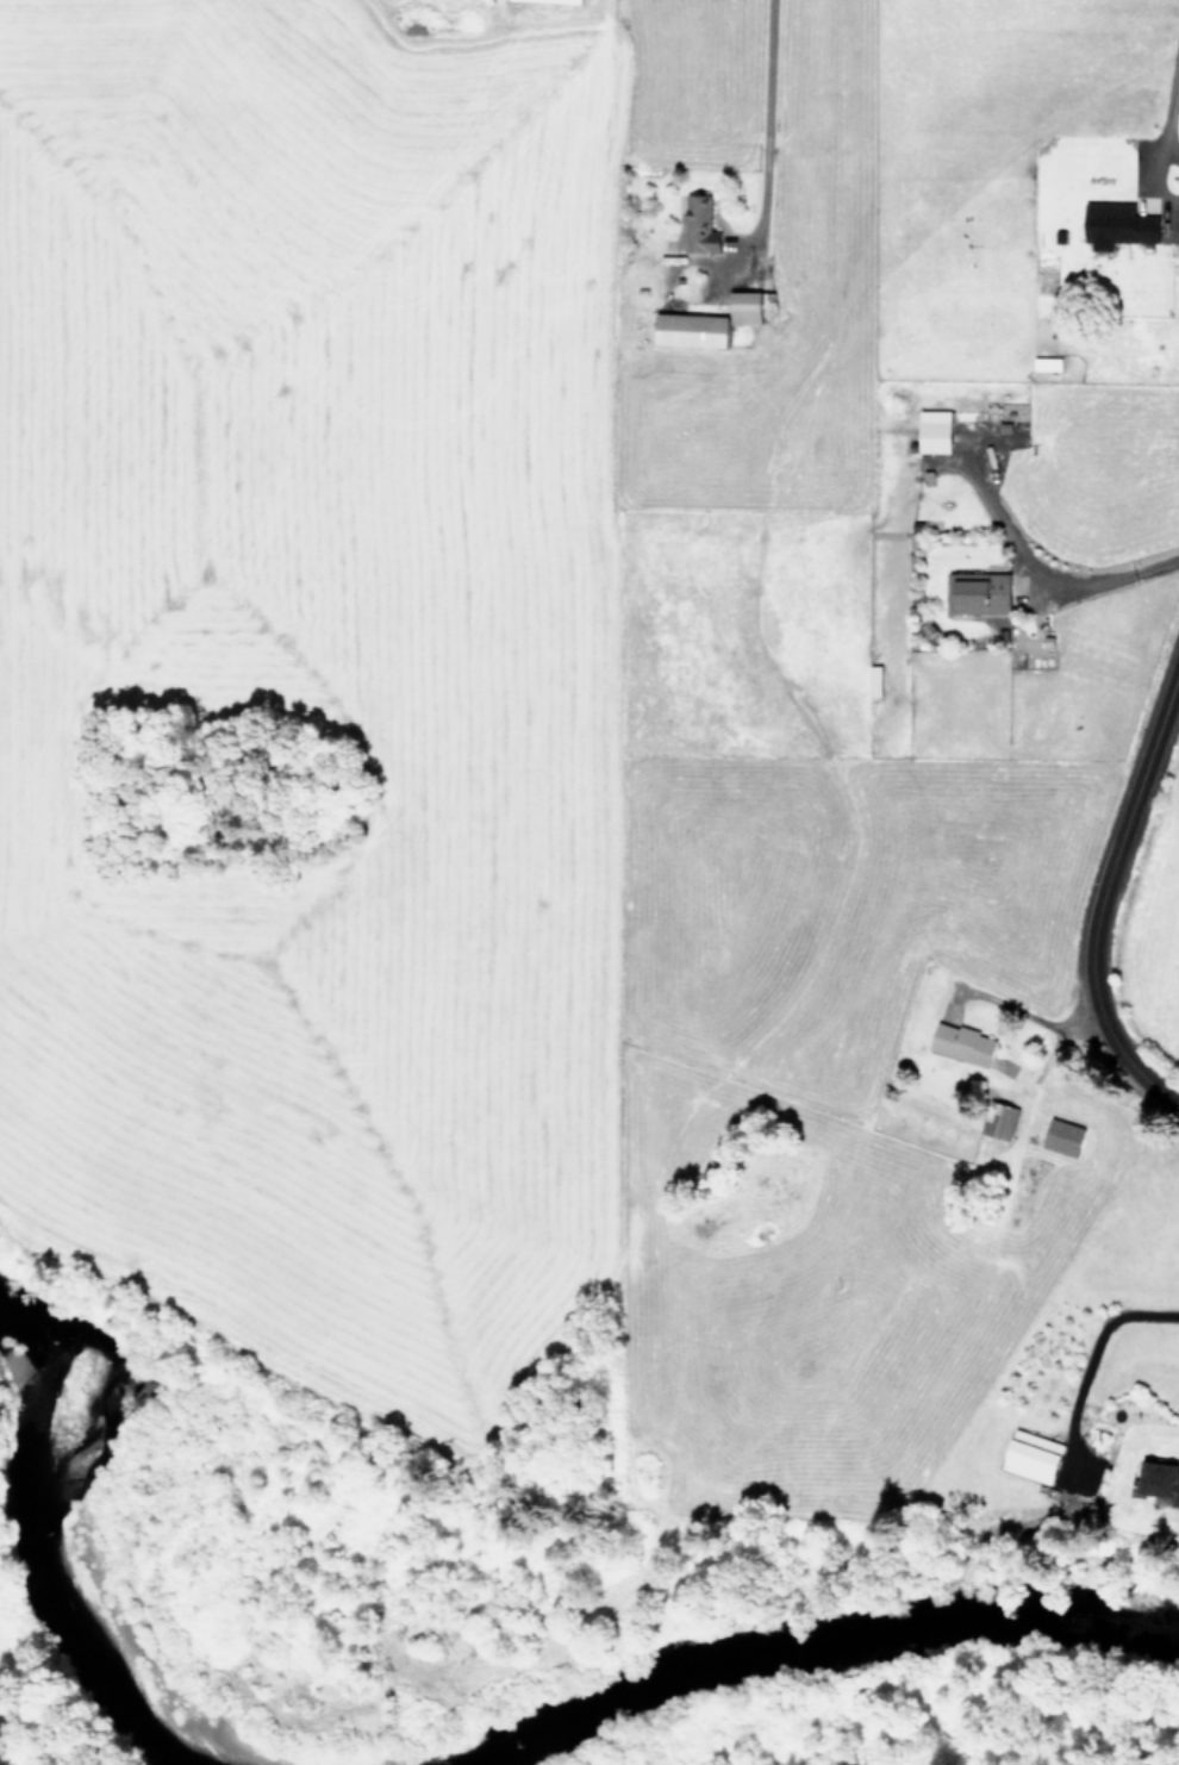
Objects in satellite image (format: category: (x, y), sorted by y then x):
building: (547, 0)
road: (1168, 120)
road: (763, 148)
building: (1113, 225)
building: (697, 226)
building: (741, 307)
building: (686, 330)
building: (1044, 362)
building: (930, 431)
road: (1100, 578)
building: (977, 592)
crop: (594, 694)
road: (1096, 879)
crop: (1168, 937)
road: (1027, 1016)
building: (959, 1042)
building: (997, 1118)
building: (1060, 1136)
road: (1097, 1347)
building: (1028, 1455)
building: (1158, 1479)

